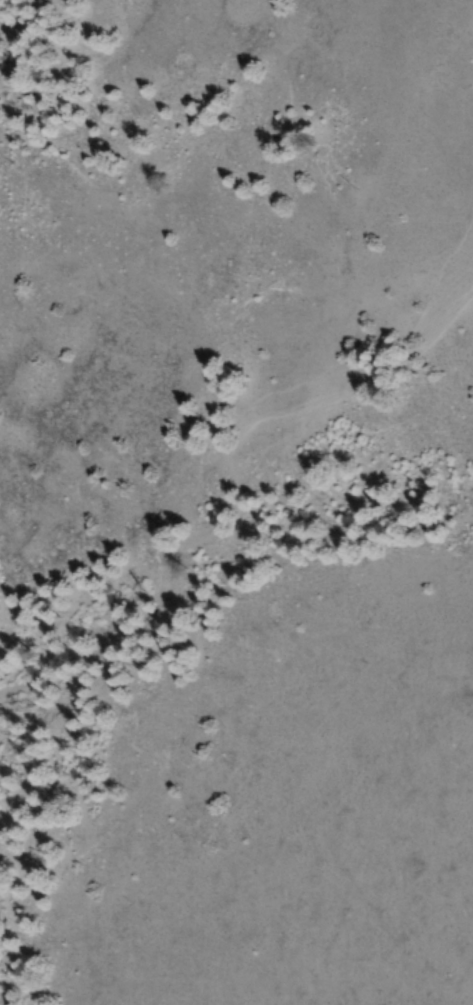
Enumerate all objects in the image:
road: (438, 261)
road: (221, 464)

